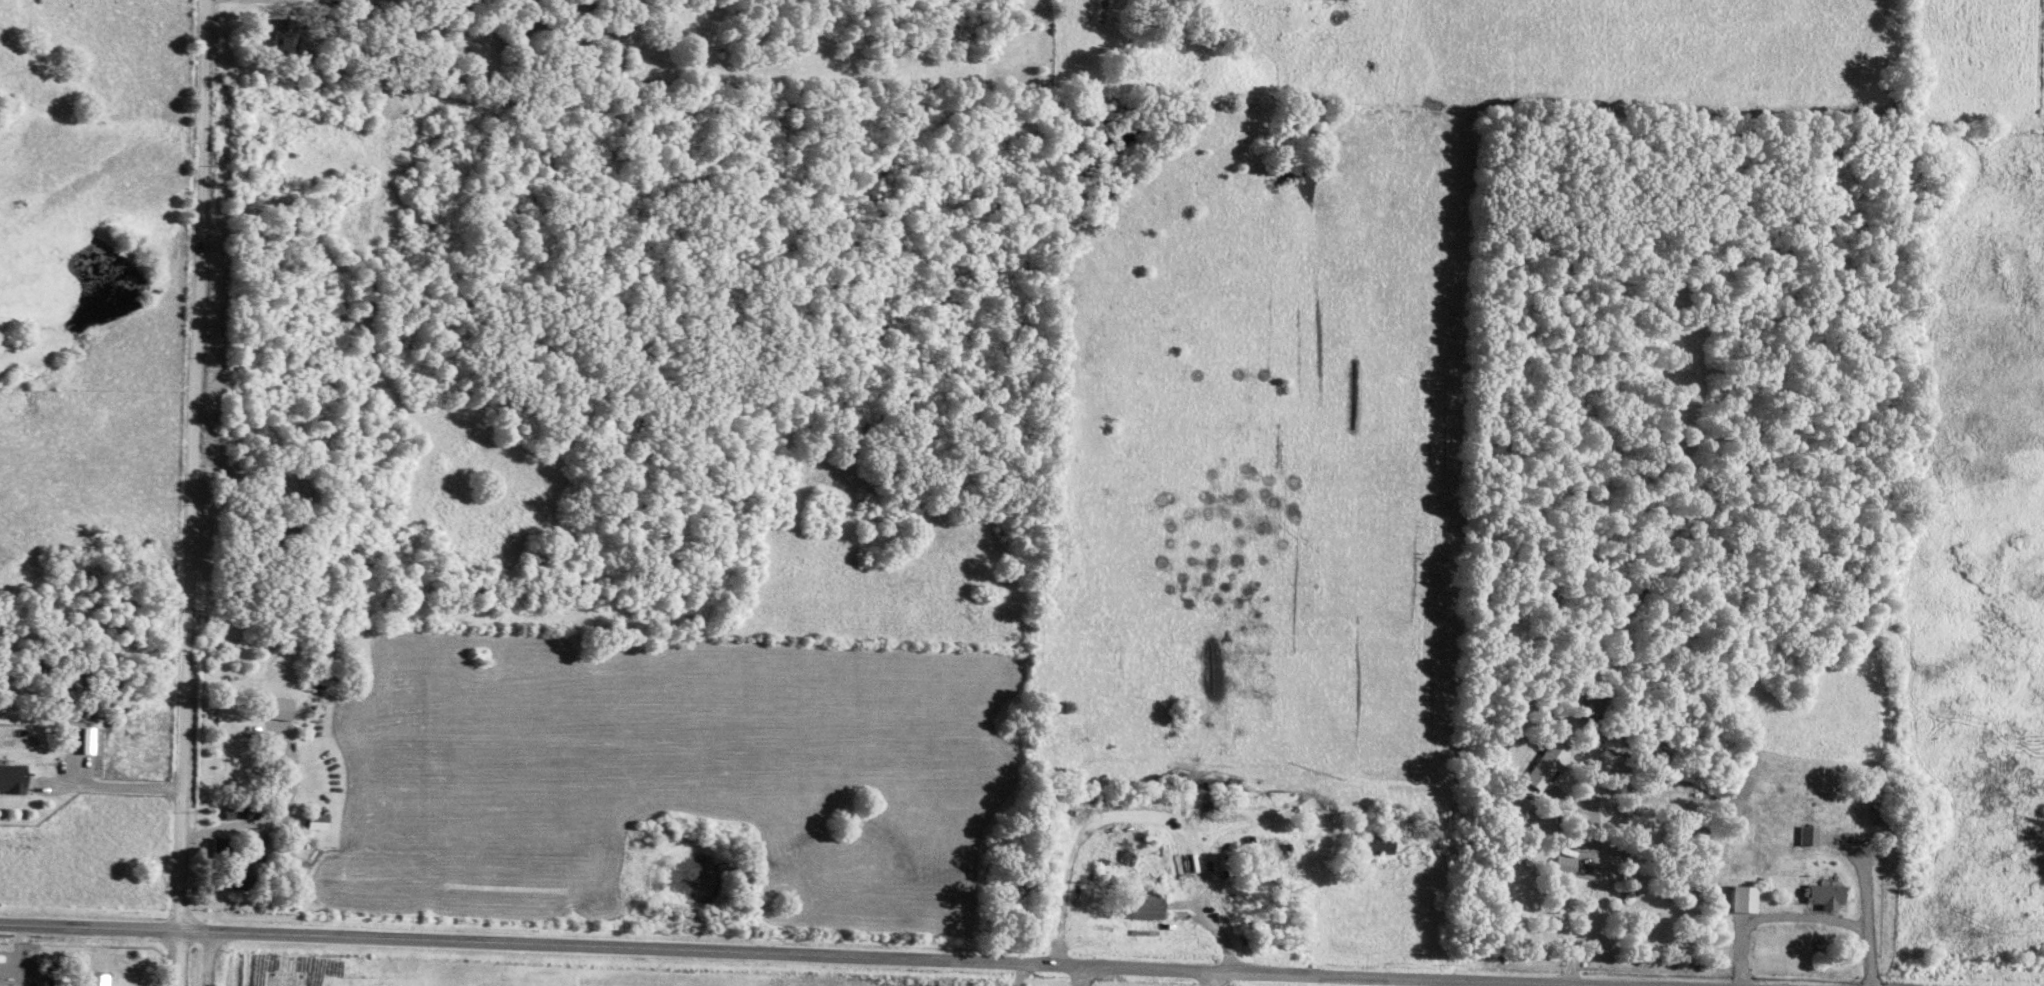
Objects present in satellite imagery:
building: (286, 31)
road: (191, 493)
building: (277, 707)
building: (12, 777)
road: (107, 784)
road: (1140, 814)
building: (316, 818)
building: (1379, 841)
building: (1743, 897)
building: (1144, 901)
road: (1803, 913)
road: (834, 953)
road: (208, 957)
road: (1017, 974)
road: (1075, 975)
road: (1212, 978)
building: (98, 979)
building: (56, 981)
building: (7, 984)

